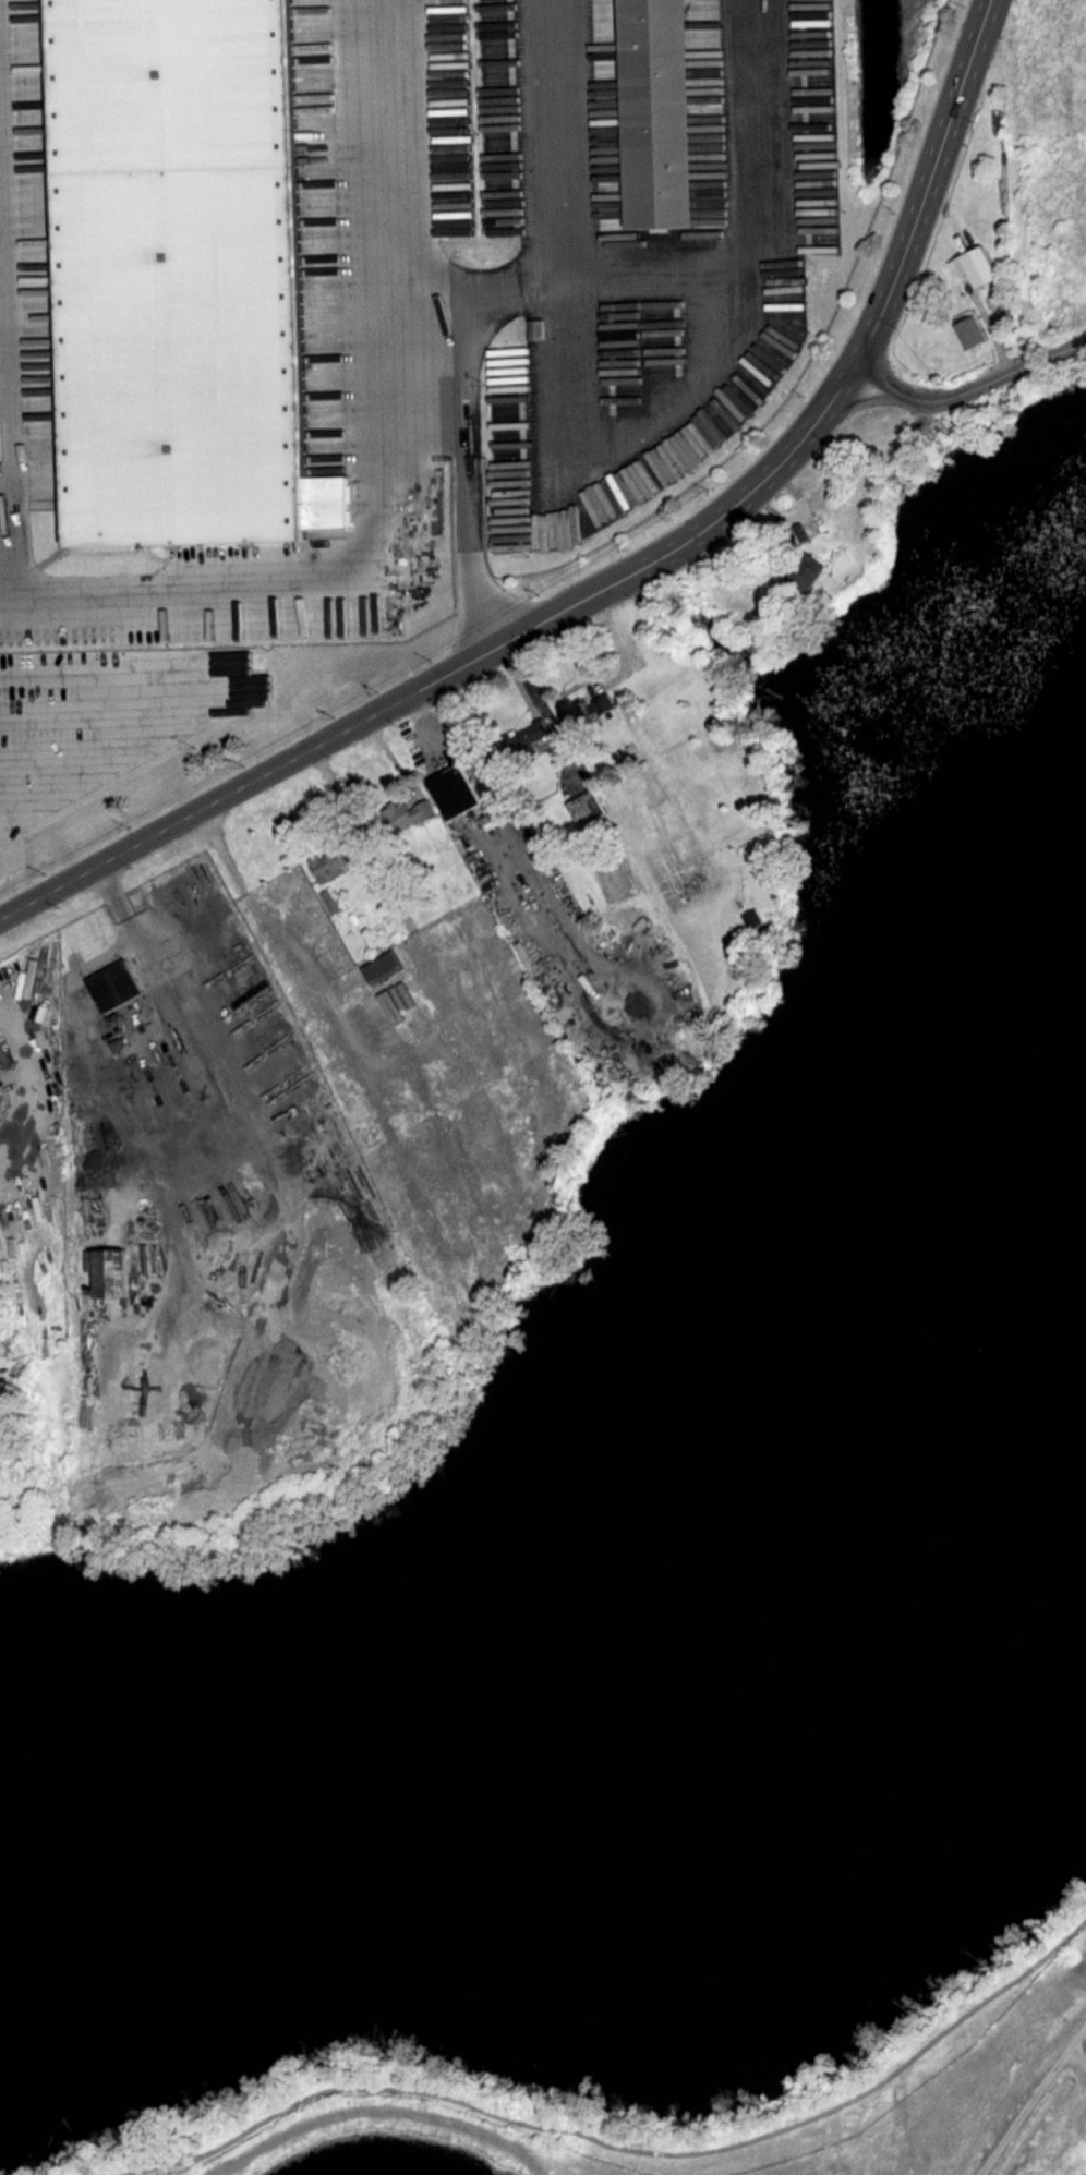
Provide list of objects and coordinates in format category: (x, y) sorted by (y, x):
building: (664, 112)
road: (929, 182)
road: (559, 262)
building: (188, 271)
road: (705, 274)
road: (970, 388)
road: (686, 390)
road: (865, 402)
road: (470, 466)
road: (397, 473)
road: (33, 567)
road: (454, 669)
road: (239, 699)
road: (102, 712)
road: (56, 764)
road: (268, 919)
road: (1078, 2056)
landfill: (987, 2099)
road: (1033, 2101)
road: (375, 2108)
landfill: (400, 2144)
road: (625, 2147)

